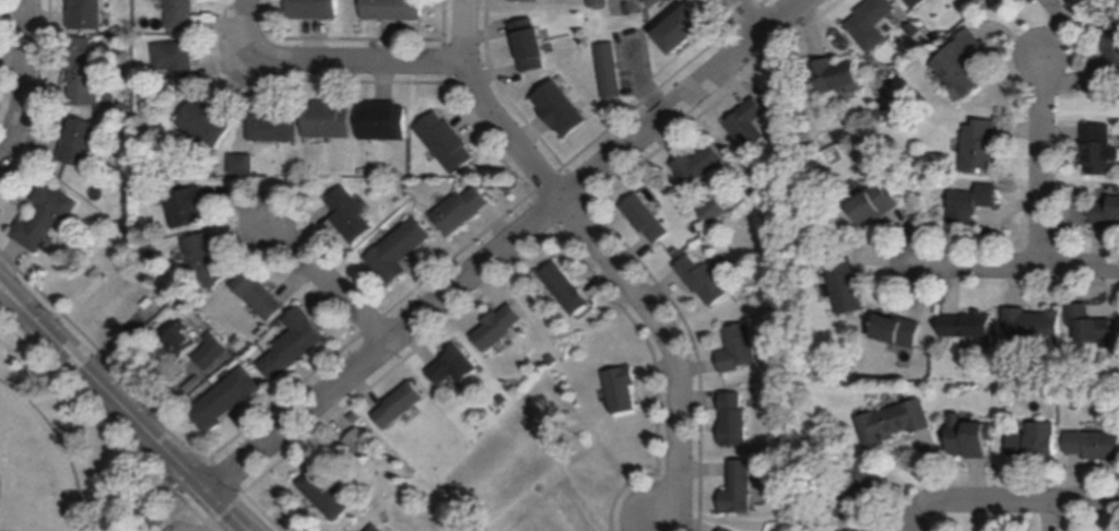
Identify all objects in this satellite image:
building: (526, 1)
building: (1035, 1)
building: (660, 2)
building: (600, 3)
building: (917, 3)
building: (315, 10)
building: (393, 10)
building: (87, 14)
building: (181, 14)
road: (753, 14)
building: (873, 23)
road: (248, 24)
building: (684, 29)
building: (915, 29)
building: (530, 45)
building: (1109, 57)
road: (361, 60)
building: (178, 61)
building: (963, 63)
building: (610, 71)
building: (84, 72)
building: (836, 74)
road: (27, 81)
building: (126, 109)
road: (487, 109)
building: (562, 109)
building: (329, 120)
building: (384, 121)
building: (207, 122)
building: (750, 125)
building: (274, 127)
building: (447, 142)
building: (82, 143)
building: (980, 145)
building: (1096, 150)
building: (243, 164)
building: (700, 165)
road: (1043, 167)
building: (130, 196)
building: (875, 202)
building: (973, 202)
building: (189, 208)
building: (461, 210)
building: (715, 210)
building: (1106, 211)
building: (351, 215)
building: (46, 216)
building: (647, 219)
road: (505, 245)
building: (400, 250)
building: (209, 259)
road: (1021, 268)
road: (329, 280)
building: (705, 280)
building: (844, 282)
building: (567, 288)
road: (13, 291)
building: (261, 296)
road: (9, 304)
building: (1089, 323)
building: (1033, 326)
building: (969, 327)
building: (499, 328)
building: (898, 329)
building: (184, 340)
building: (238, 340)
road: (672, 342)
building: (295, 344)
building: (741, 350)
building: (211, 358)
building: (455, 366)
building: (623, 389)
road: (140, 391)
building: (227, 399)
building: (401, 404)
building: (356, 418)
road: (136, 420)
building: (735, 420)
building: (894, 422)
road: (107, 424)
building: (970, 436)
building: (1036, 440)
building: (362, 442)
building: (1094, 444)
park: (69, 453)
park: (34, 470)
building: (742, 488)
road: (161, 491)
building: (856, 491)
building: (328, 493)
road: (1010, 503)
building: (154, 520)
building: (378, 529)
building: (728, 530)

